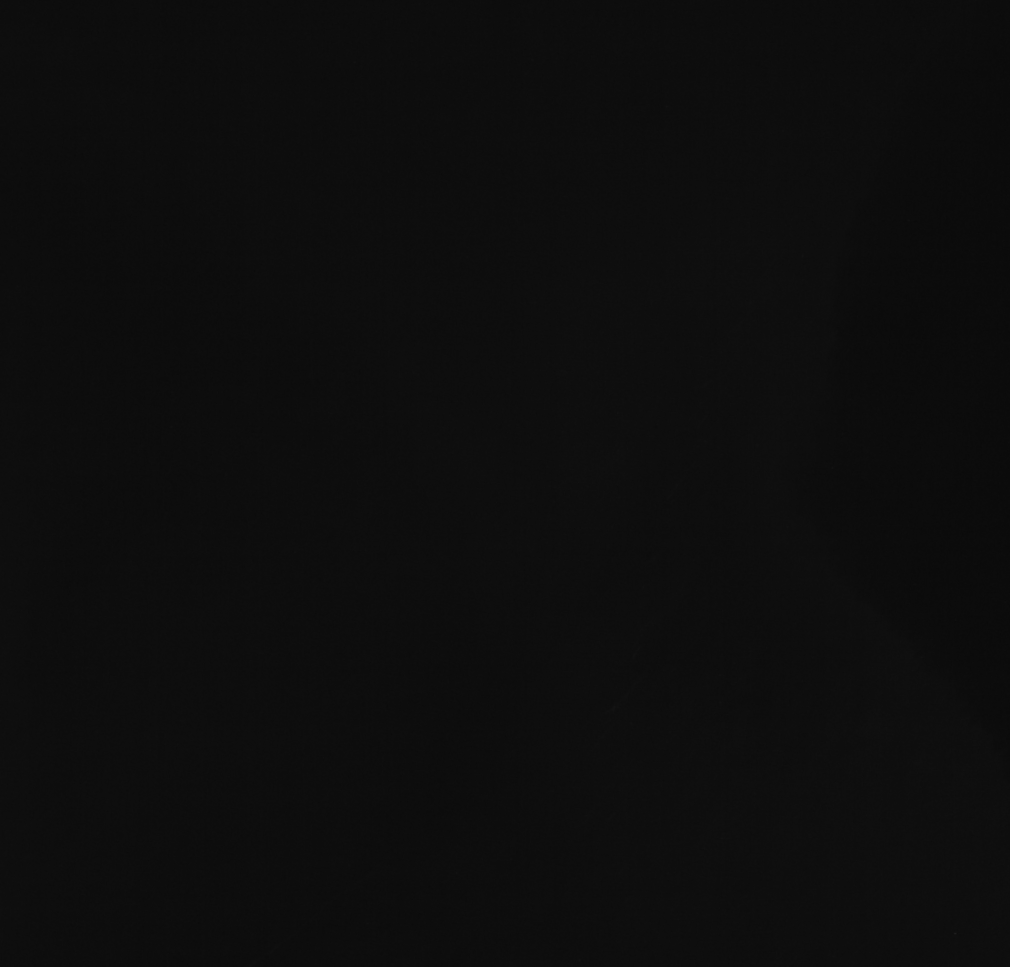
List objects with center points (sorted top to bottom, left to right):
river: (917, 92)

